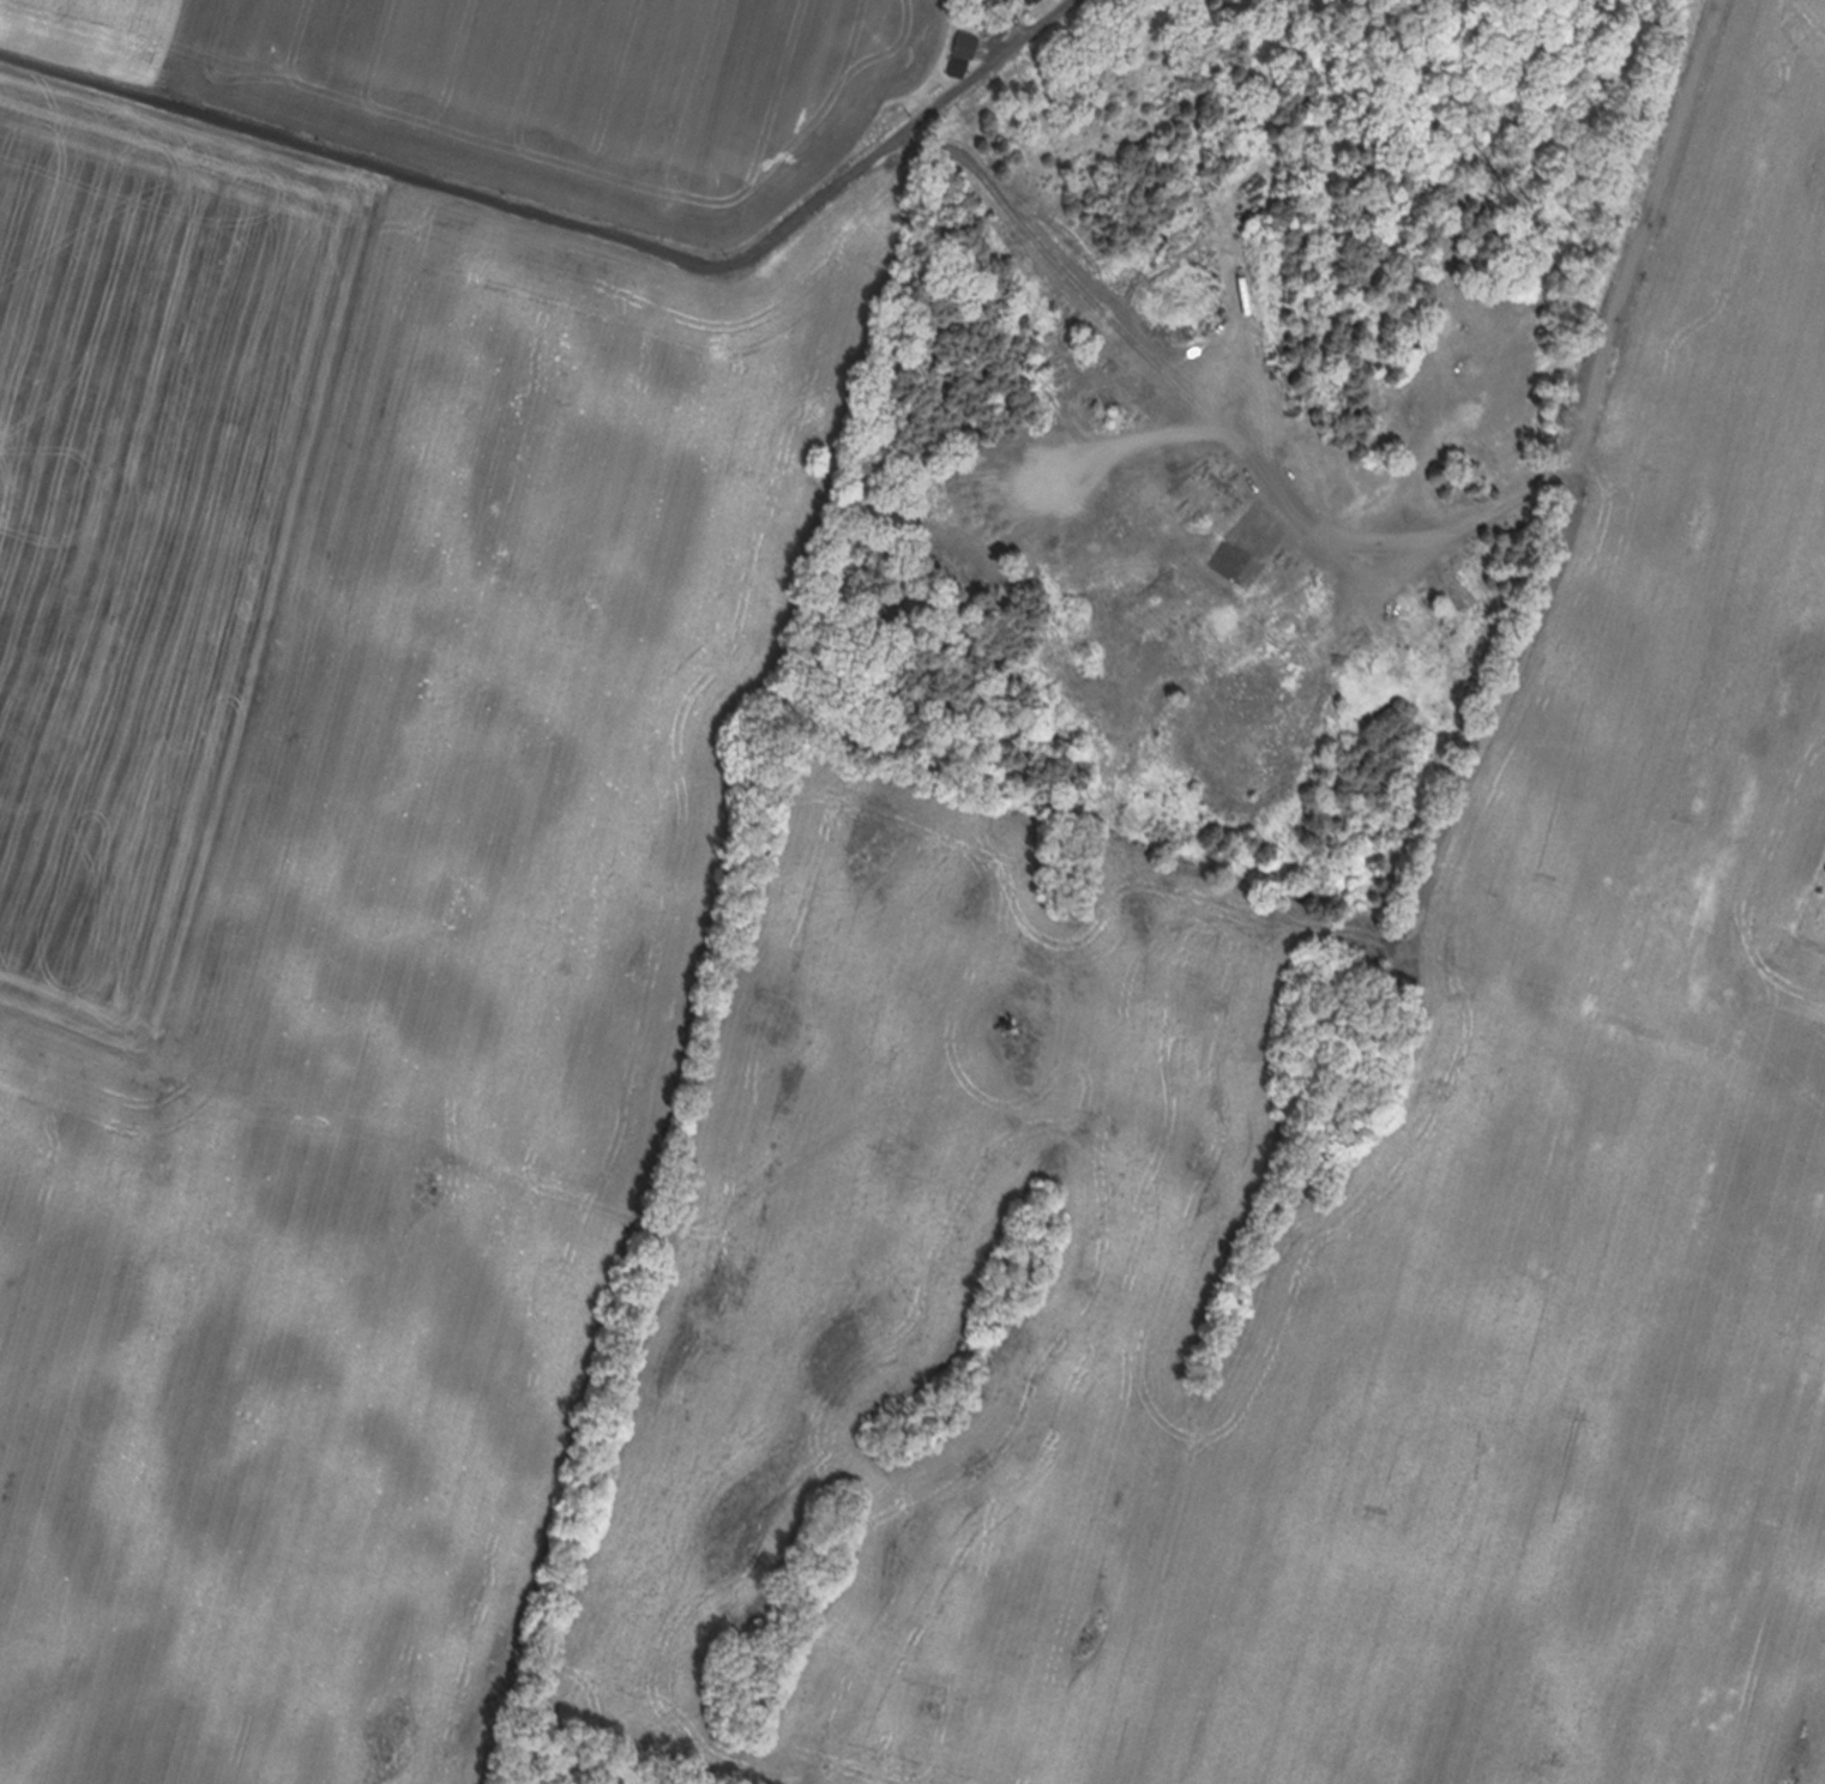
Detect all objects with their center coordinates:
building: (1014, 1)
building: (956, 56)
road: (1555, 80)
road: (568, 218)

